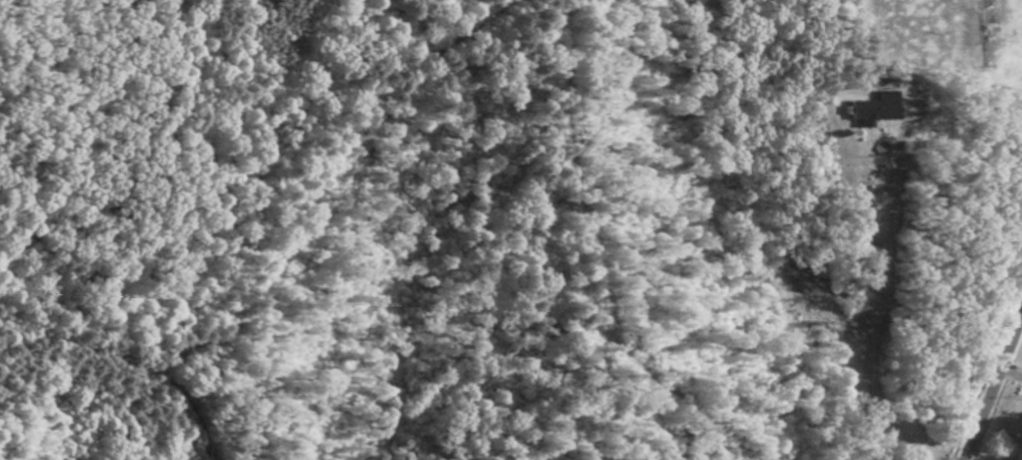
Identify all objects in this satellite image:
building: (871, 112)
road: (996, 386)

